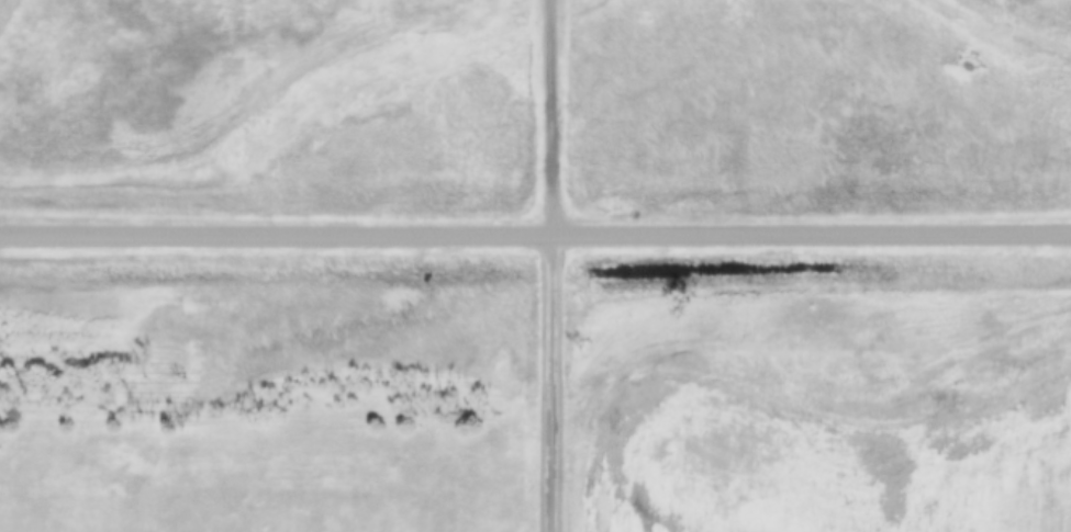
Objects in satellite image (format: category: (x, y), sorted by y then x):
road: (535, 235)
road: (555, 265)

